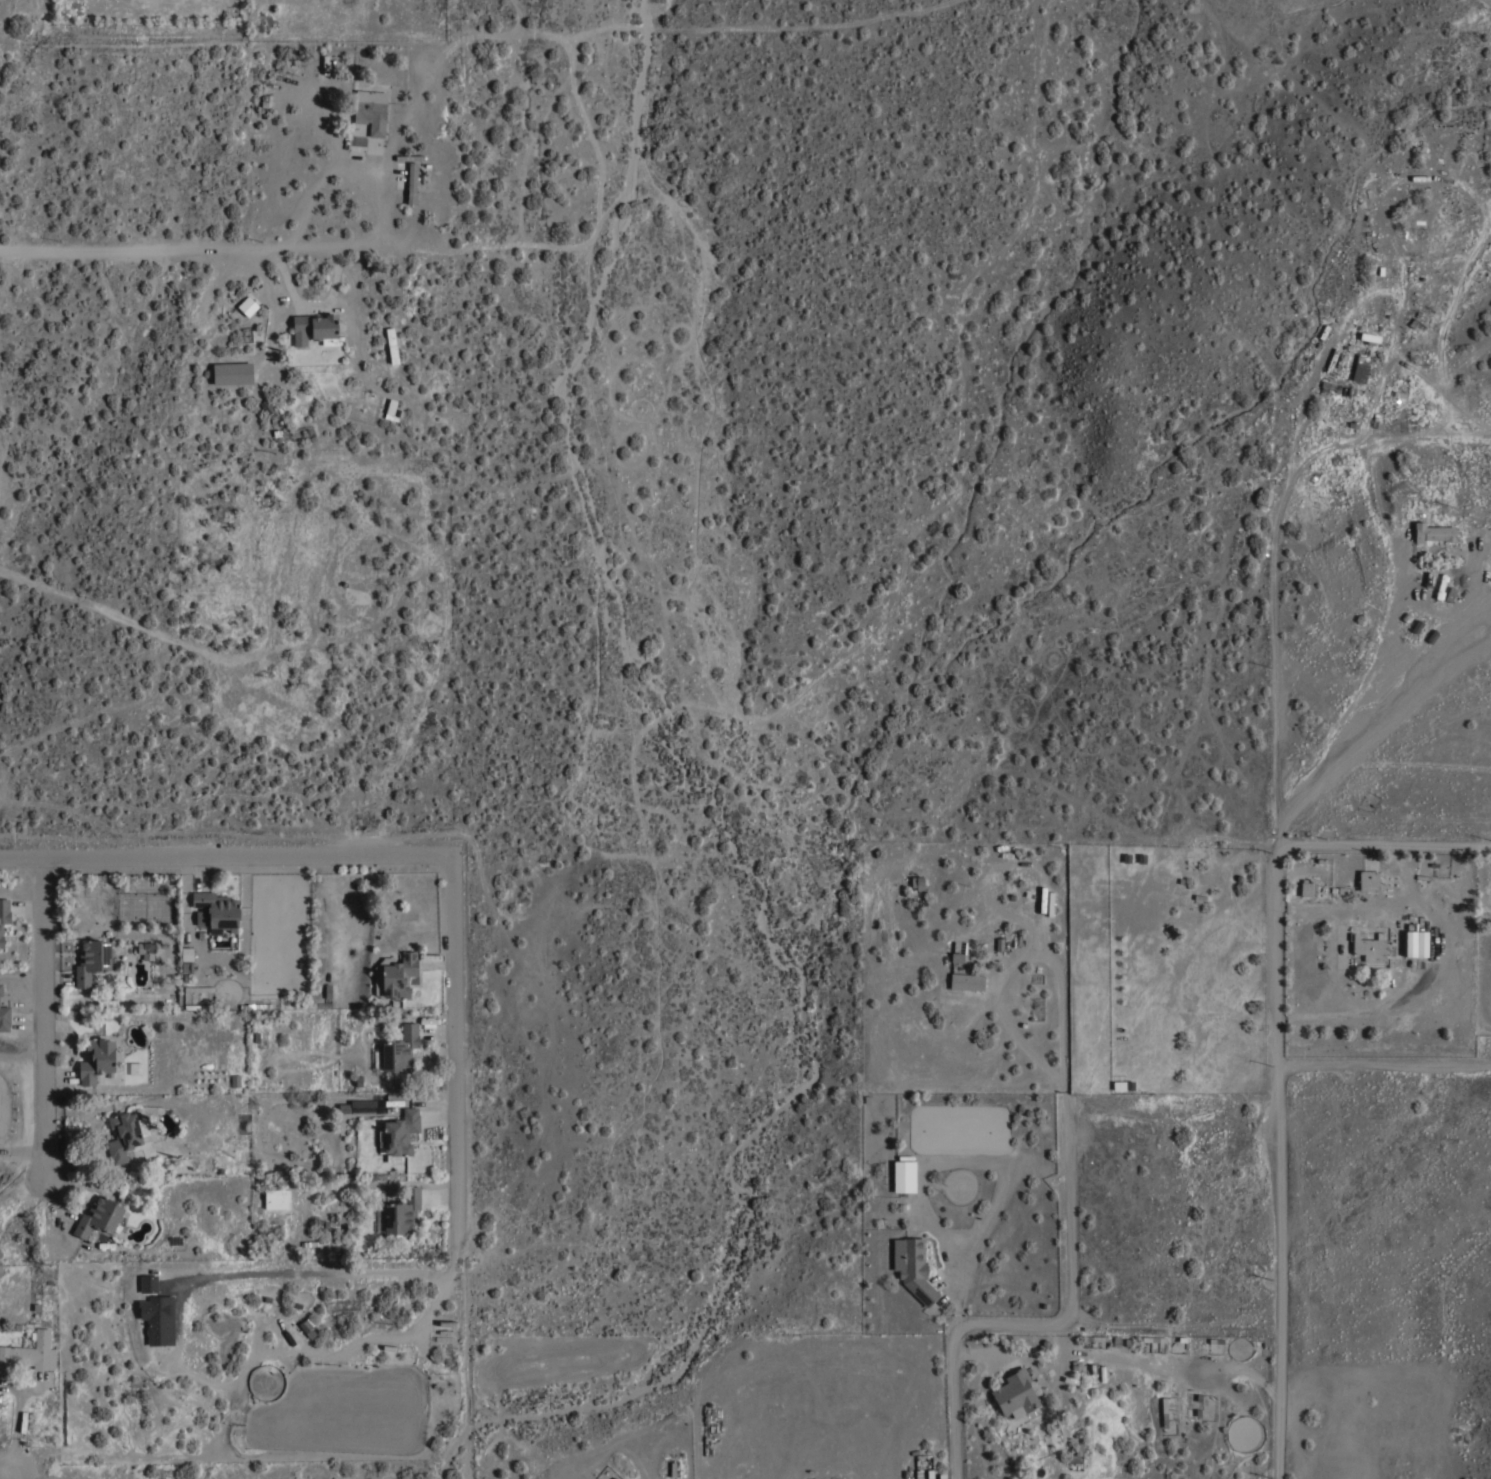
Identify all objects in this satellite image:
building: (371, 110)
building: (408, 157)
road: (337, 162)
building: (401, 183)
building: (412, 183)
road: (193, 245)
building: (248, 306)
building: (1375, 312)
building: (316, 328)
building: (391, 346)
building: (1343, 361)
building: (1360, 370)
building: (232, 373)
building: (1330, 387)
building: (268, 407)
building: (393, 410)
building: (1433, 532)
road: (1385, 844)
road: (225, 852)
building: (1368, 880)
building: (917, 882)
building: (1307, 888)
building: (216, 911)
building: (3, 917)
building: (1421, 944)
building: (1370, 947)
building: (146, 949)
building: (187, 954)
road: (1028, 955)
building: (957, 957)
building: (92, 961)
building: (399, 976)
building: (967, 983)
building: (199, 988)
building: (1, 989)
building: (255, 1005)
building: (199, 1006)
road: (1280, 1006)
road: (44, 1013)
building: (4, 1018)
building: (400, 1049)
road: (452, 1052)
road: (1386, 1057)
building: (97, 1060)
building: (135, 1069)
building: (358, 1105)
building: (399, 1134)
building: (123, 1136)
building: (904, 1176)
building: (277, 1198)
building: (402, 1212)
building: (99, 1216)
building: (913, 1267)
road: (328, 1271)
building: (148, 1283)
building: (158, 1319)
building: (306, 1324)
road: (1047, 1325)
building: (28, 1353)
building: (1015, 1394)
building: (23, 1422)
road: (10, 1459)

